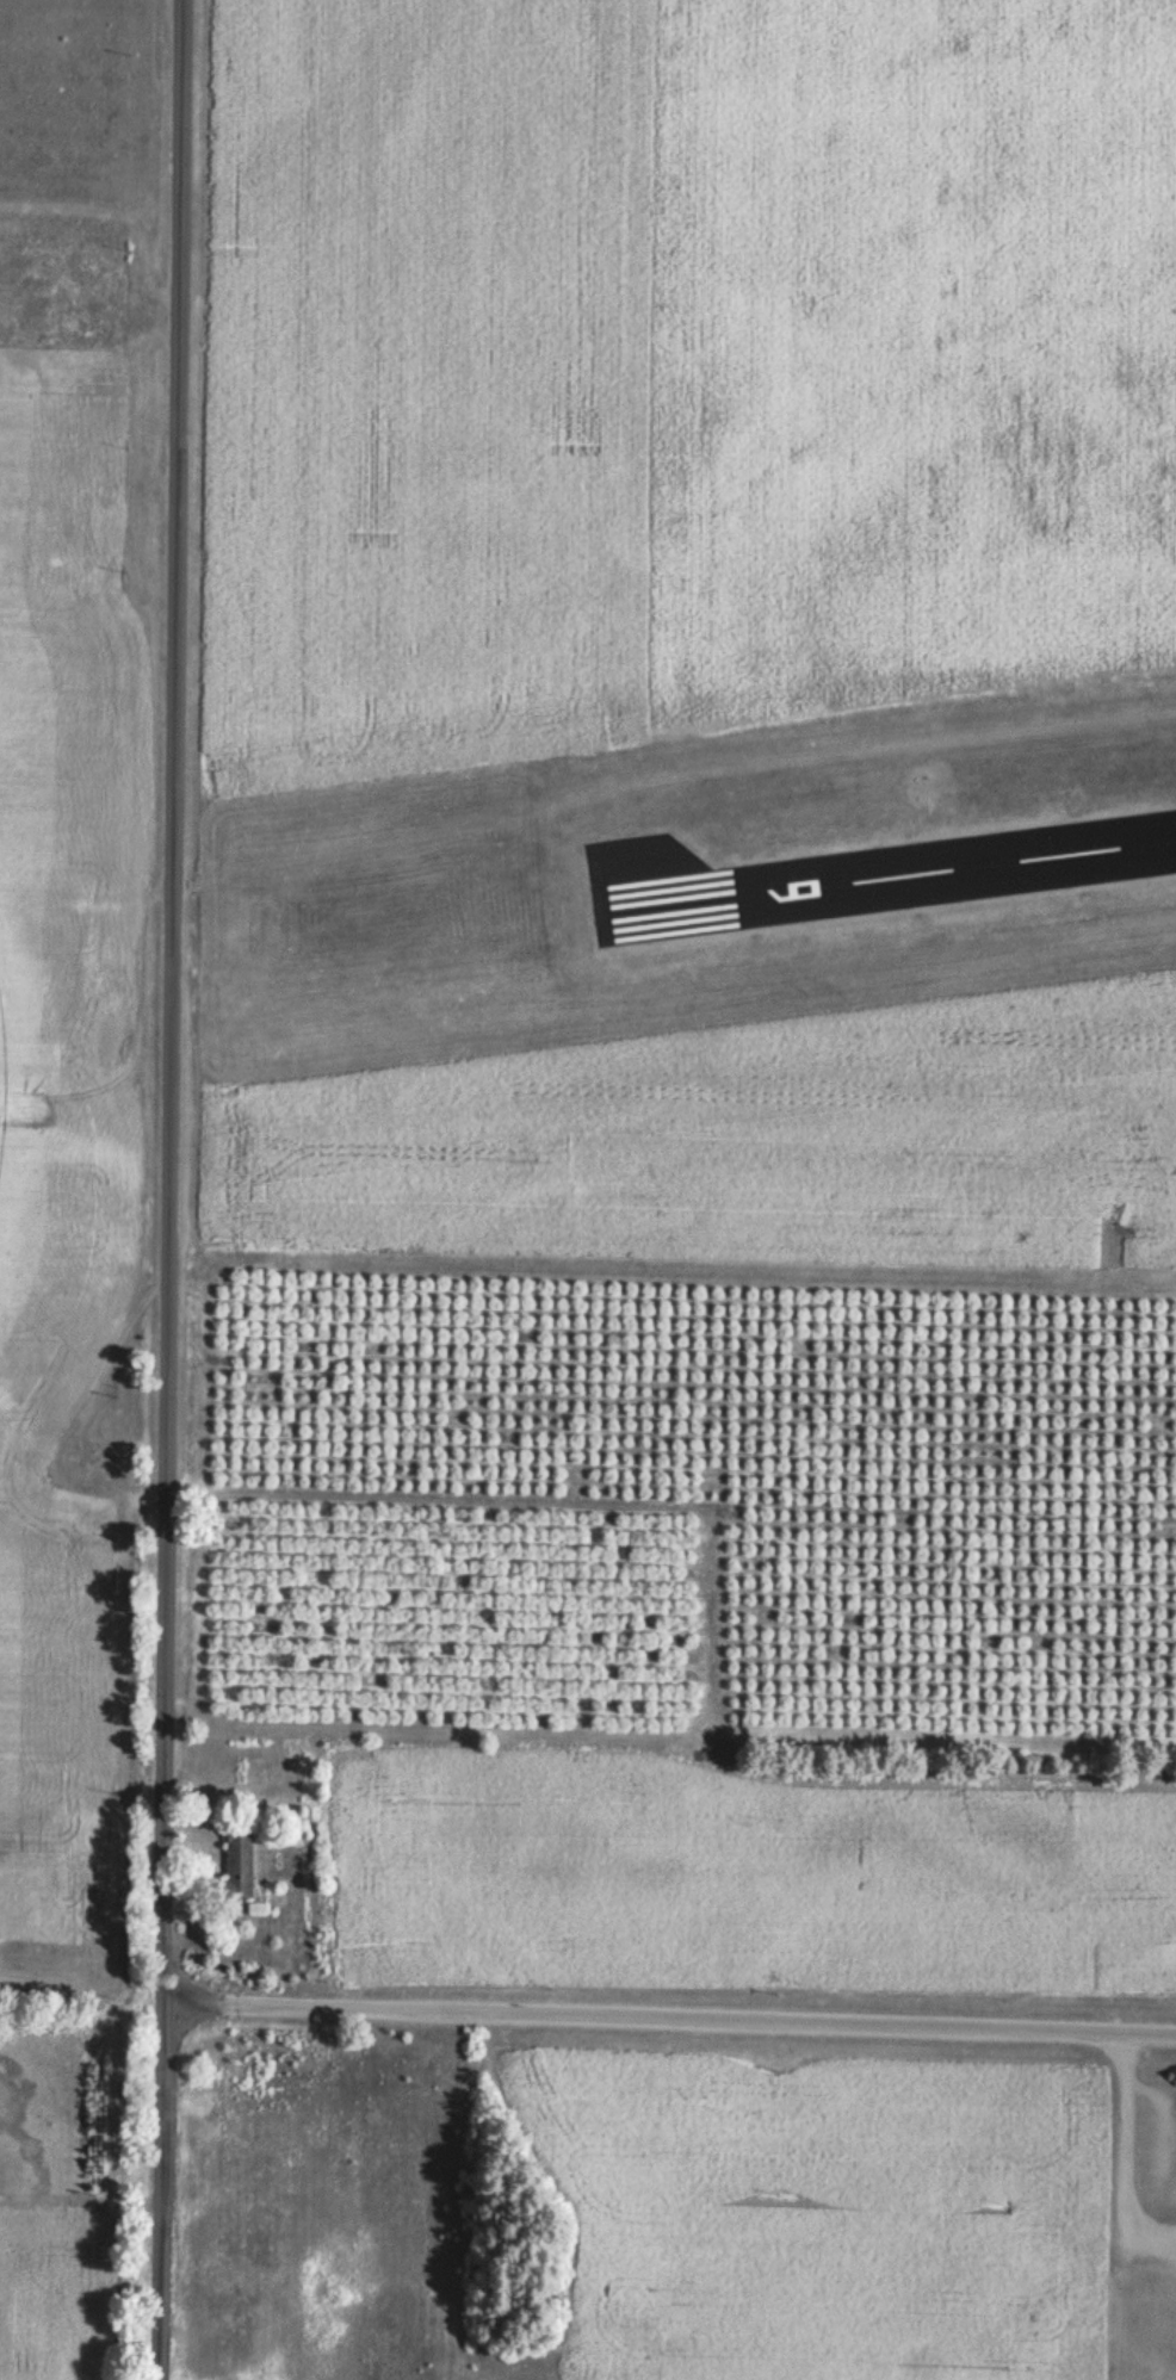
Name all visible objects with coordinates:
airport runway: (883, 878)
airport: (683, 892)
road: (172, 1189)
building: (237, 1867)
road: (669, 1997)

